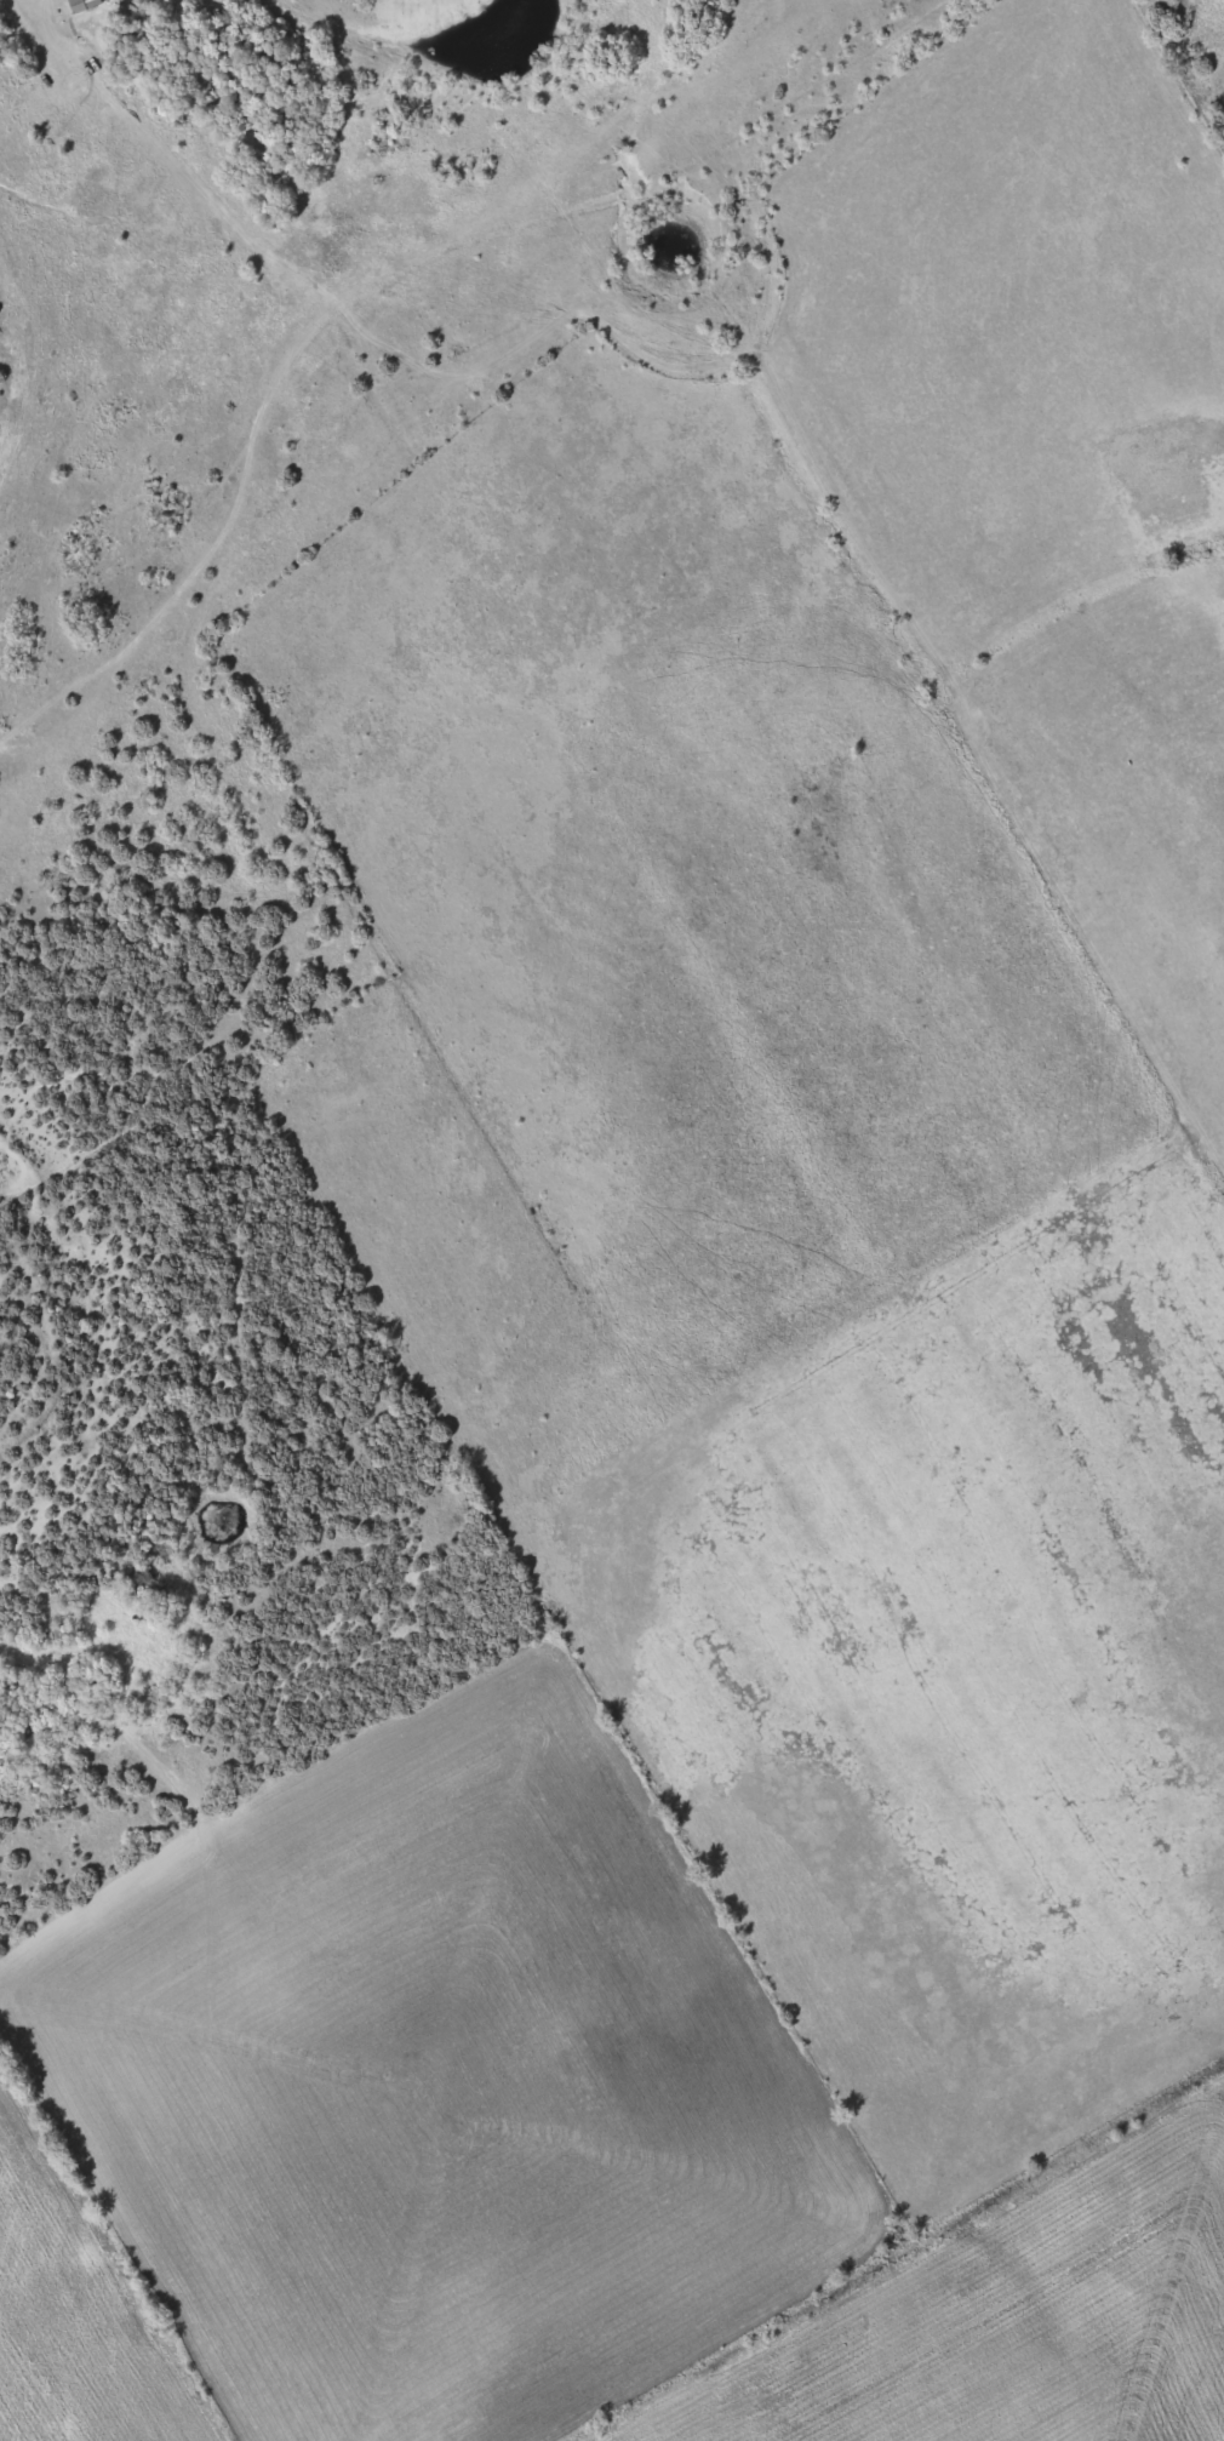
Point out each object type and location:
building: (91, 1)
building: (141, 1582)

